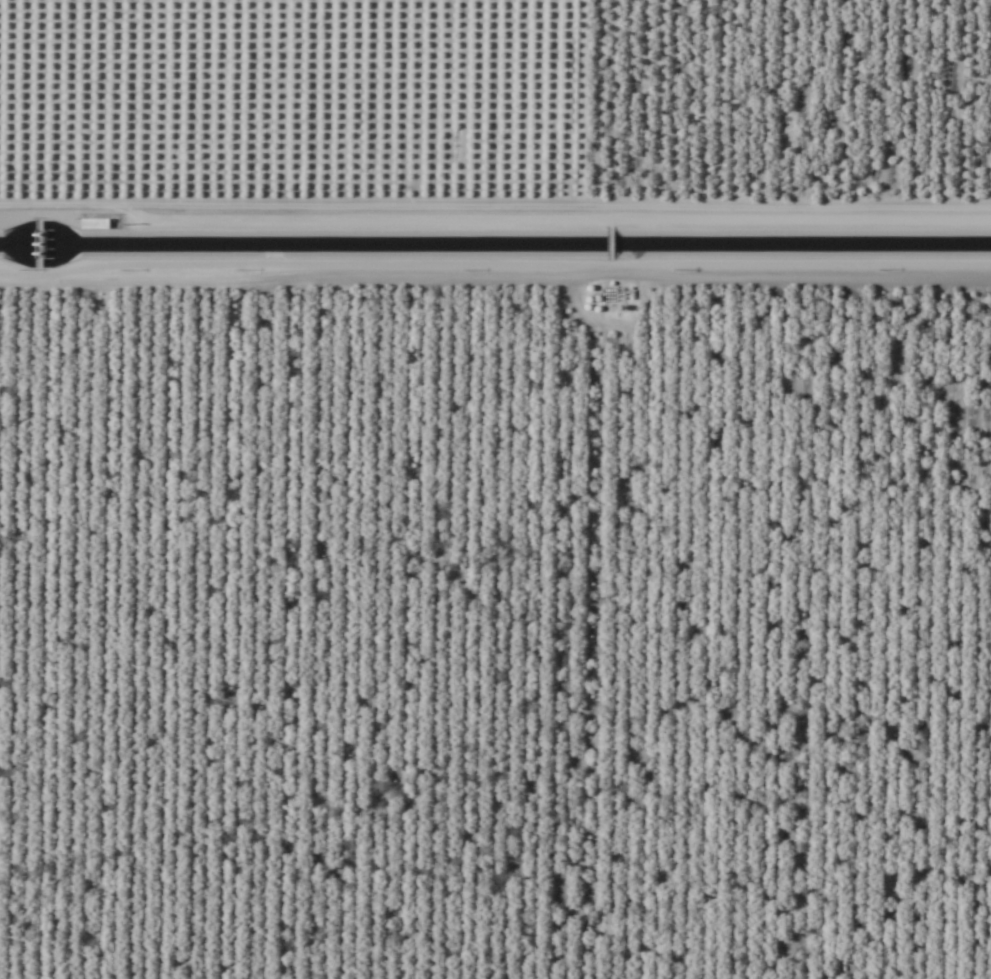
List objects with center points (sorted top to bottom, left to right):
road: (517, 53)
crop: (495, 489)

